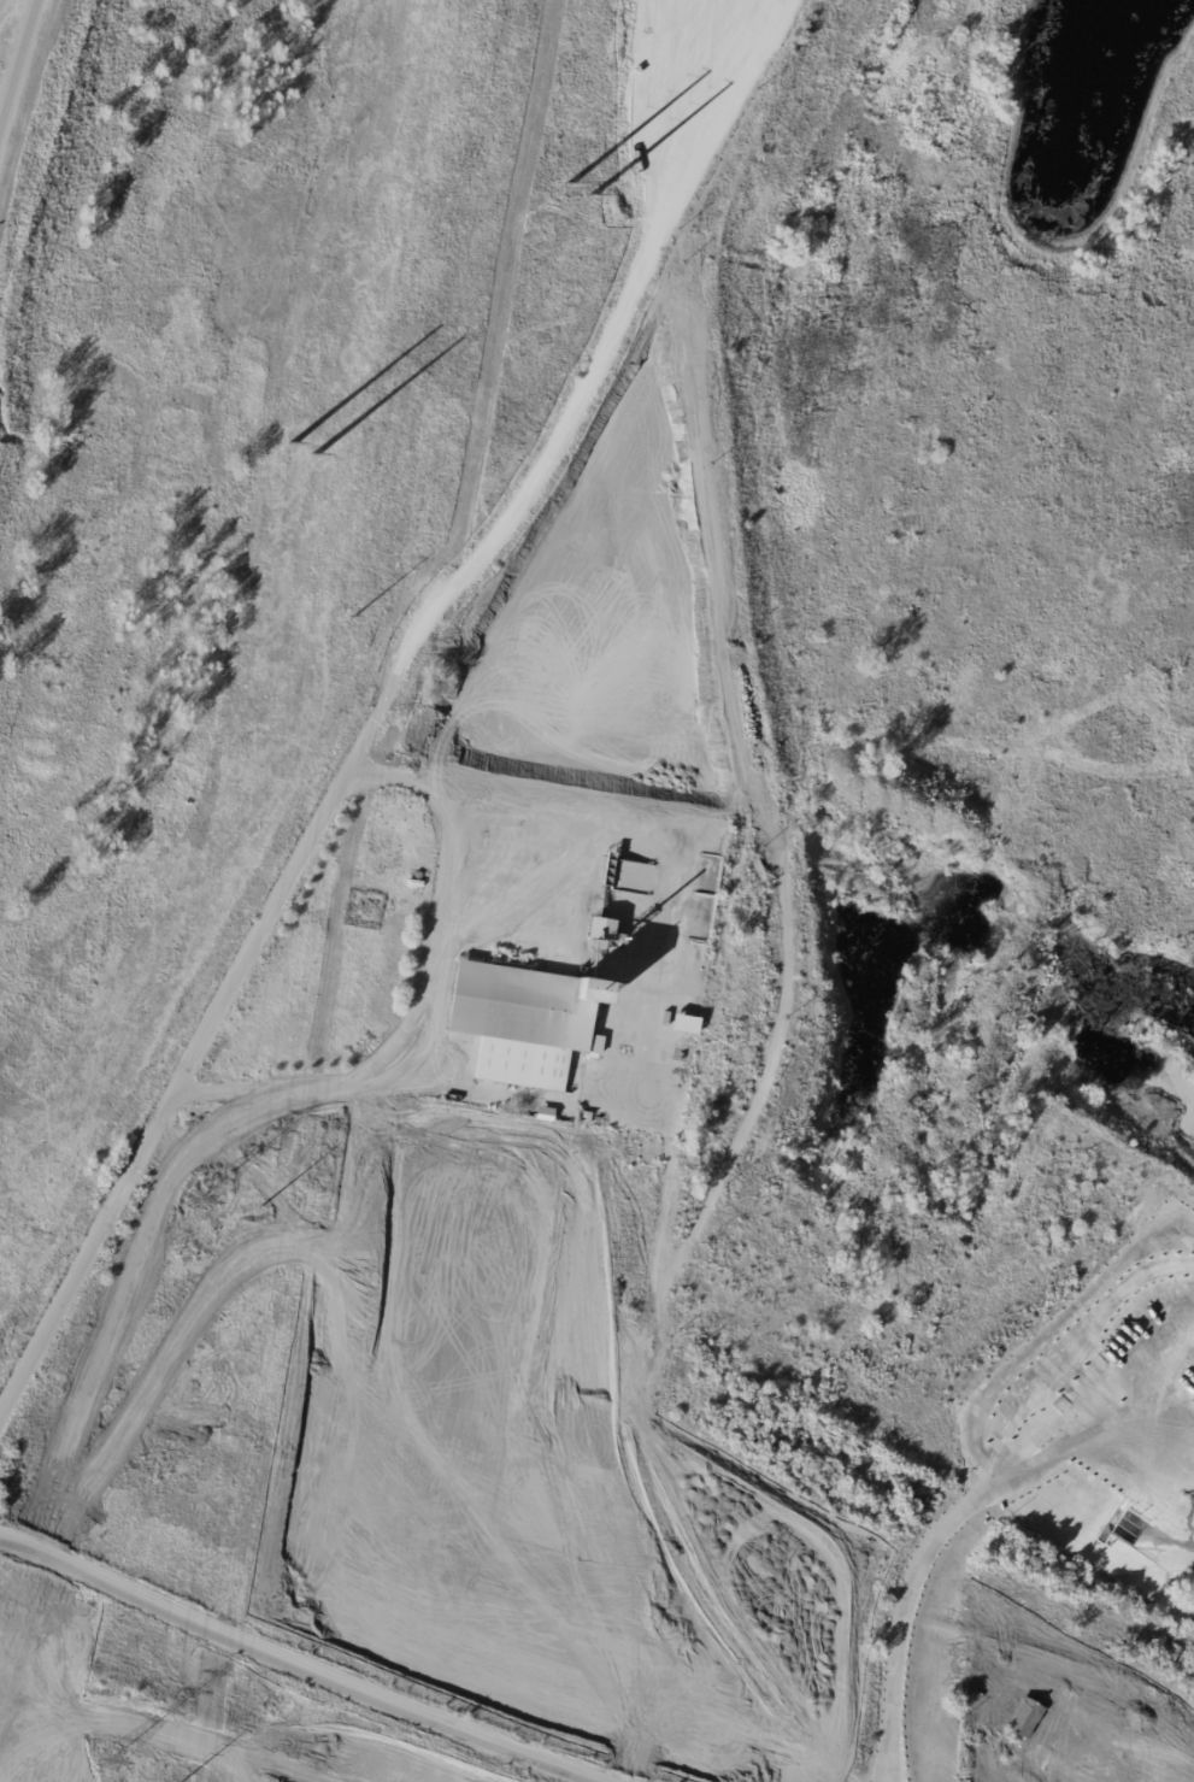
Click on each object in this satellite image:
road: (16, 64)
power tower: (576, 195)
road: (571, 425)
power tower: (298, 449)
power tower: (352, 617)
building: (417, 884)
building: (605, 935)
road: (425, 999)
building: (529, 1023)
building: (689, 1027)
road: (175, 1089)
building: (547, 1116)
building: (588, 1118)
power tower: (194, 1200)
power tower: (258, 1207)
power substation: (441, 1247)
road: (304, 1370)
road: (912, 1622)
power tower: (108, 1763)

